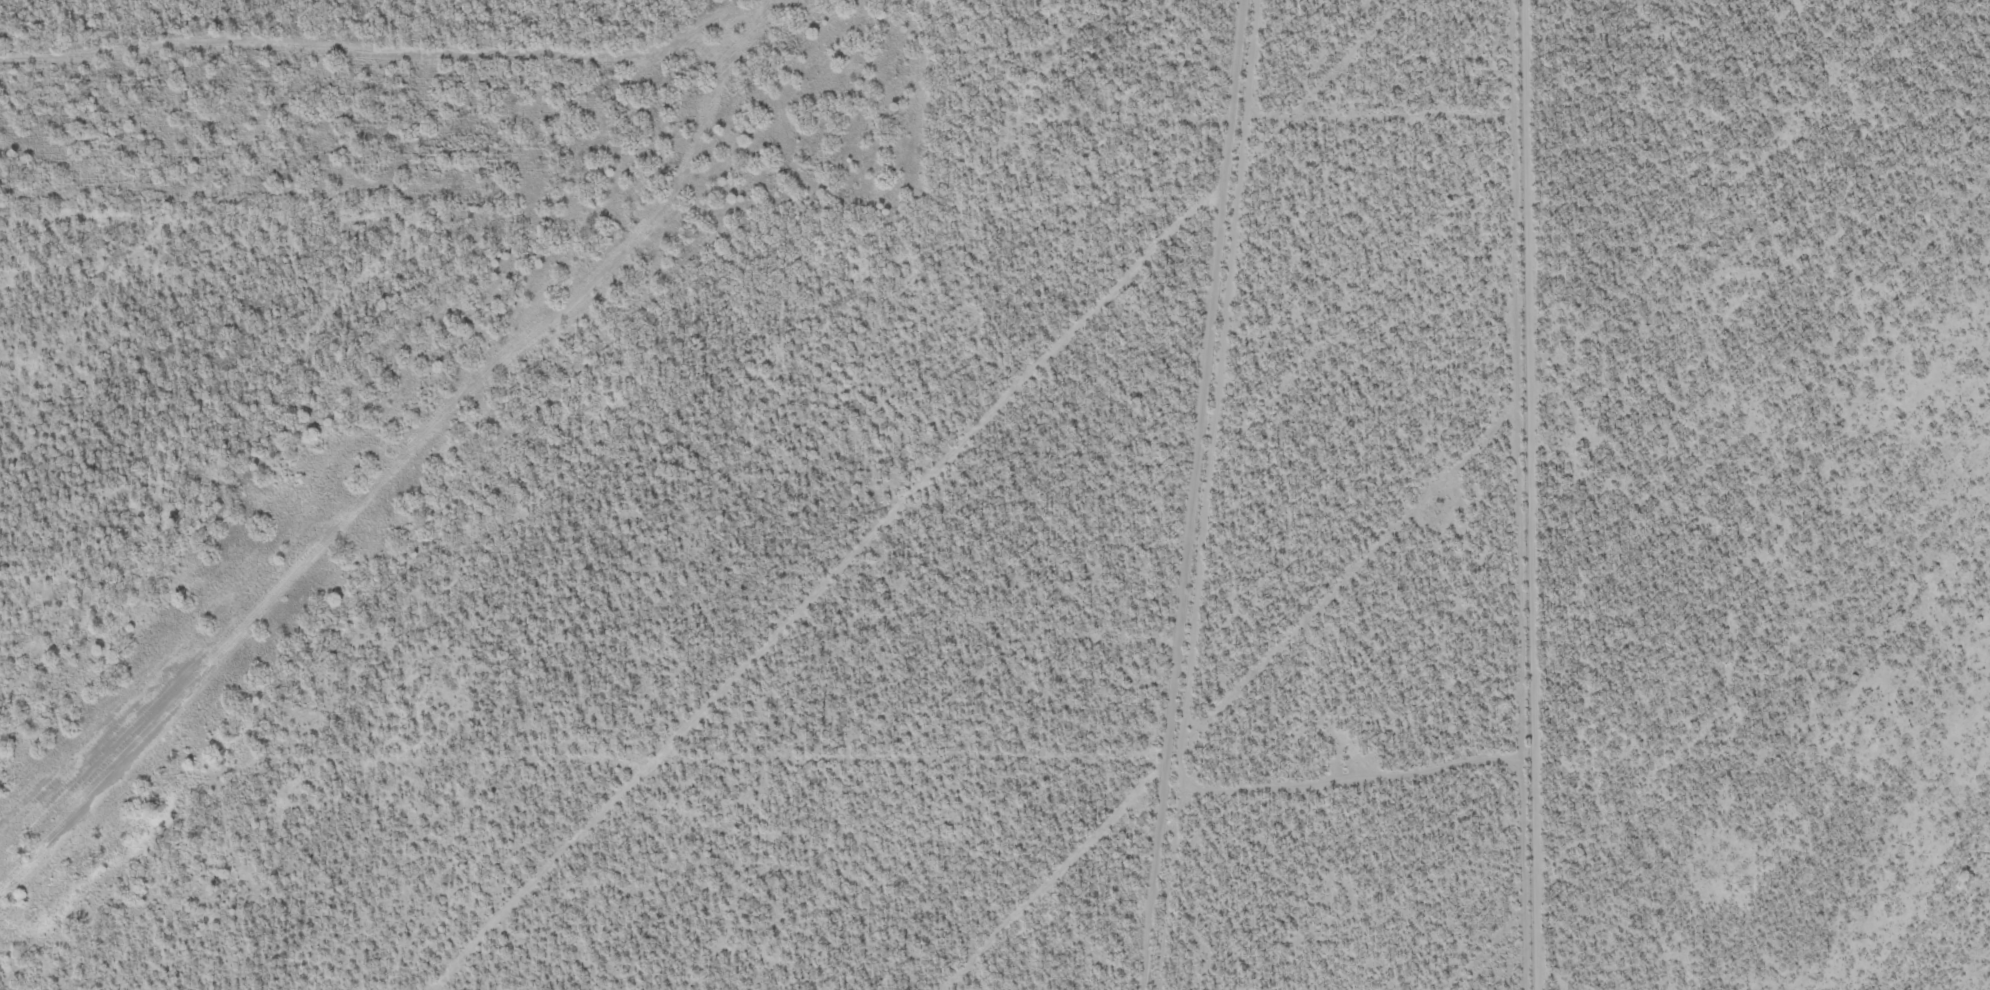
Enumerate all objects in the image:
road: (1937, 35)
road: (1889, 163)
airport: (598, 488)

